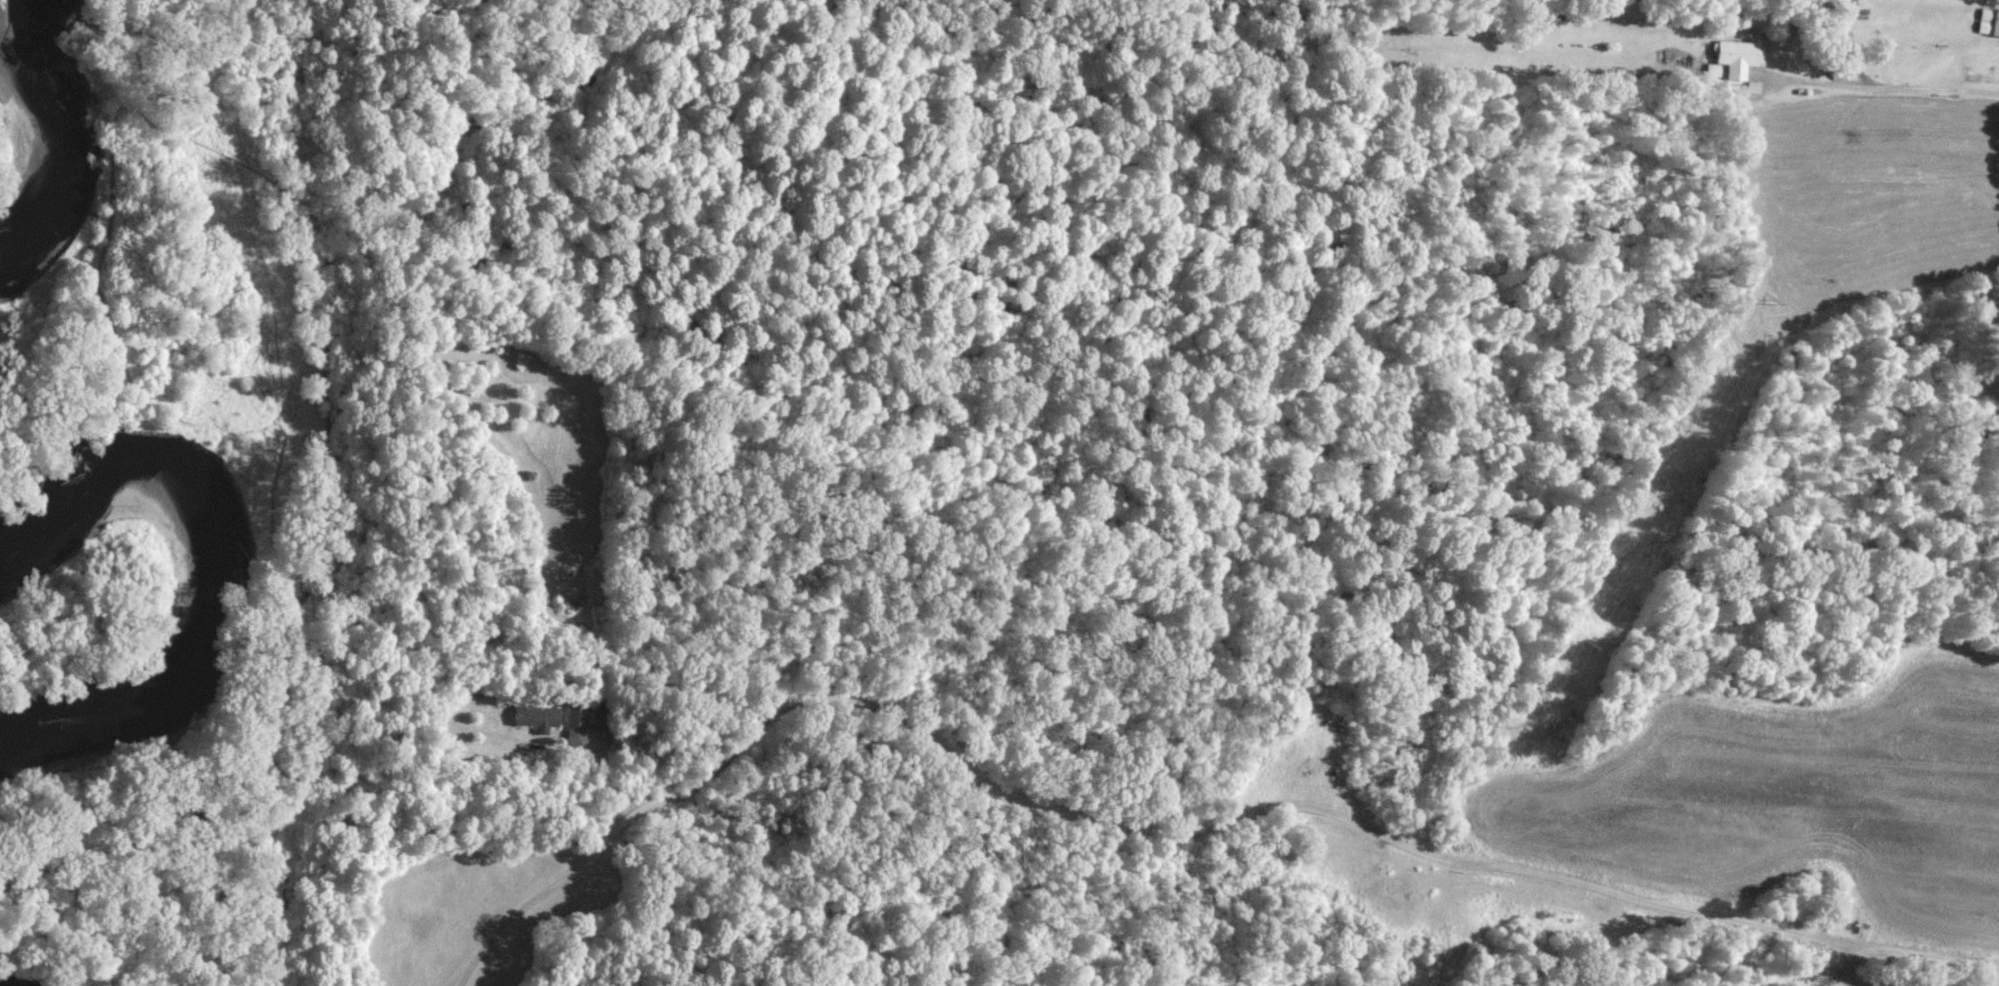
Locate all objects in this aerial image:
building: (1988, 20)
building: (1735, 55)
road: (1881, 87)
river: (39, 147)
power tower: (1777, 296)
river: (214, 599)
power tower: (1590, 641)
road: (1243, 805)
road: (547, 891)
power tower: (1433, 941)
road: (1848, 964)
building: (1890, 985)

